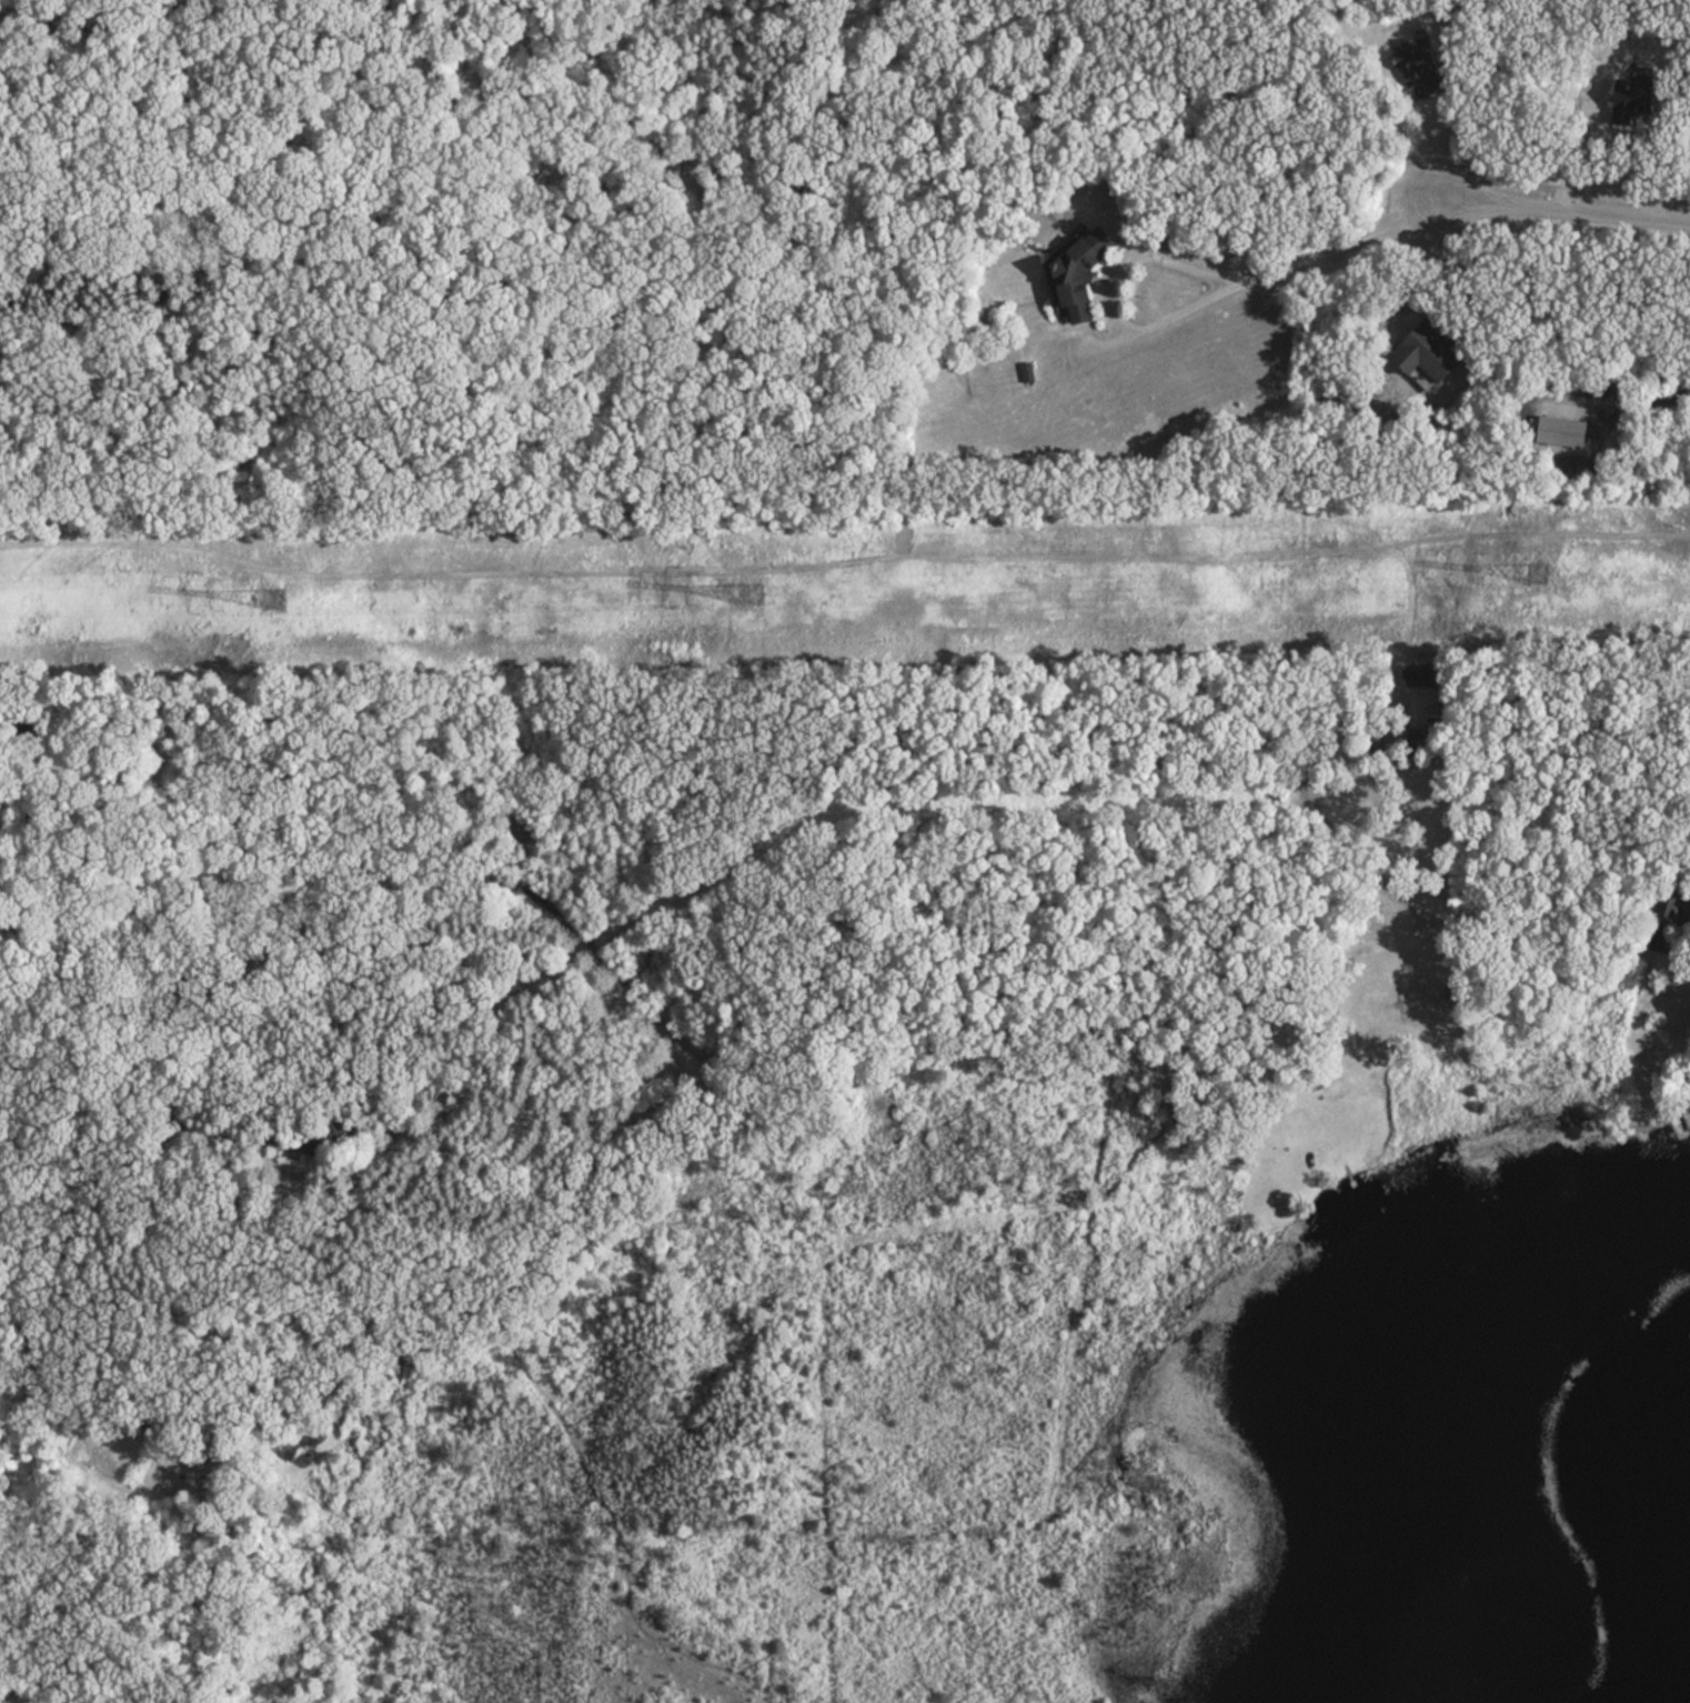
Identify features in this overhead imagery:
building: (1418, 67)
building: (1631, 101)
road: (1445, 134)
road: (1562, 144)
road: (1559, 213)
road: (1422, 242)
road: (1129, 244)
building: (1077, 272)
road: (1196, 301)
road: (1402, 304)
road: (1104, 341)
building: (1425, 351)
power tower: (1533, 579)
power tower: (755, 591)
power tower: (278, 599)
building: (520, 828)
building: (1674, 903)
building: (328, 1142)
road: (1213, 1206)

